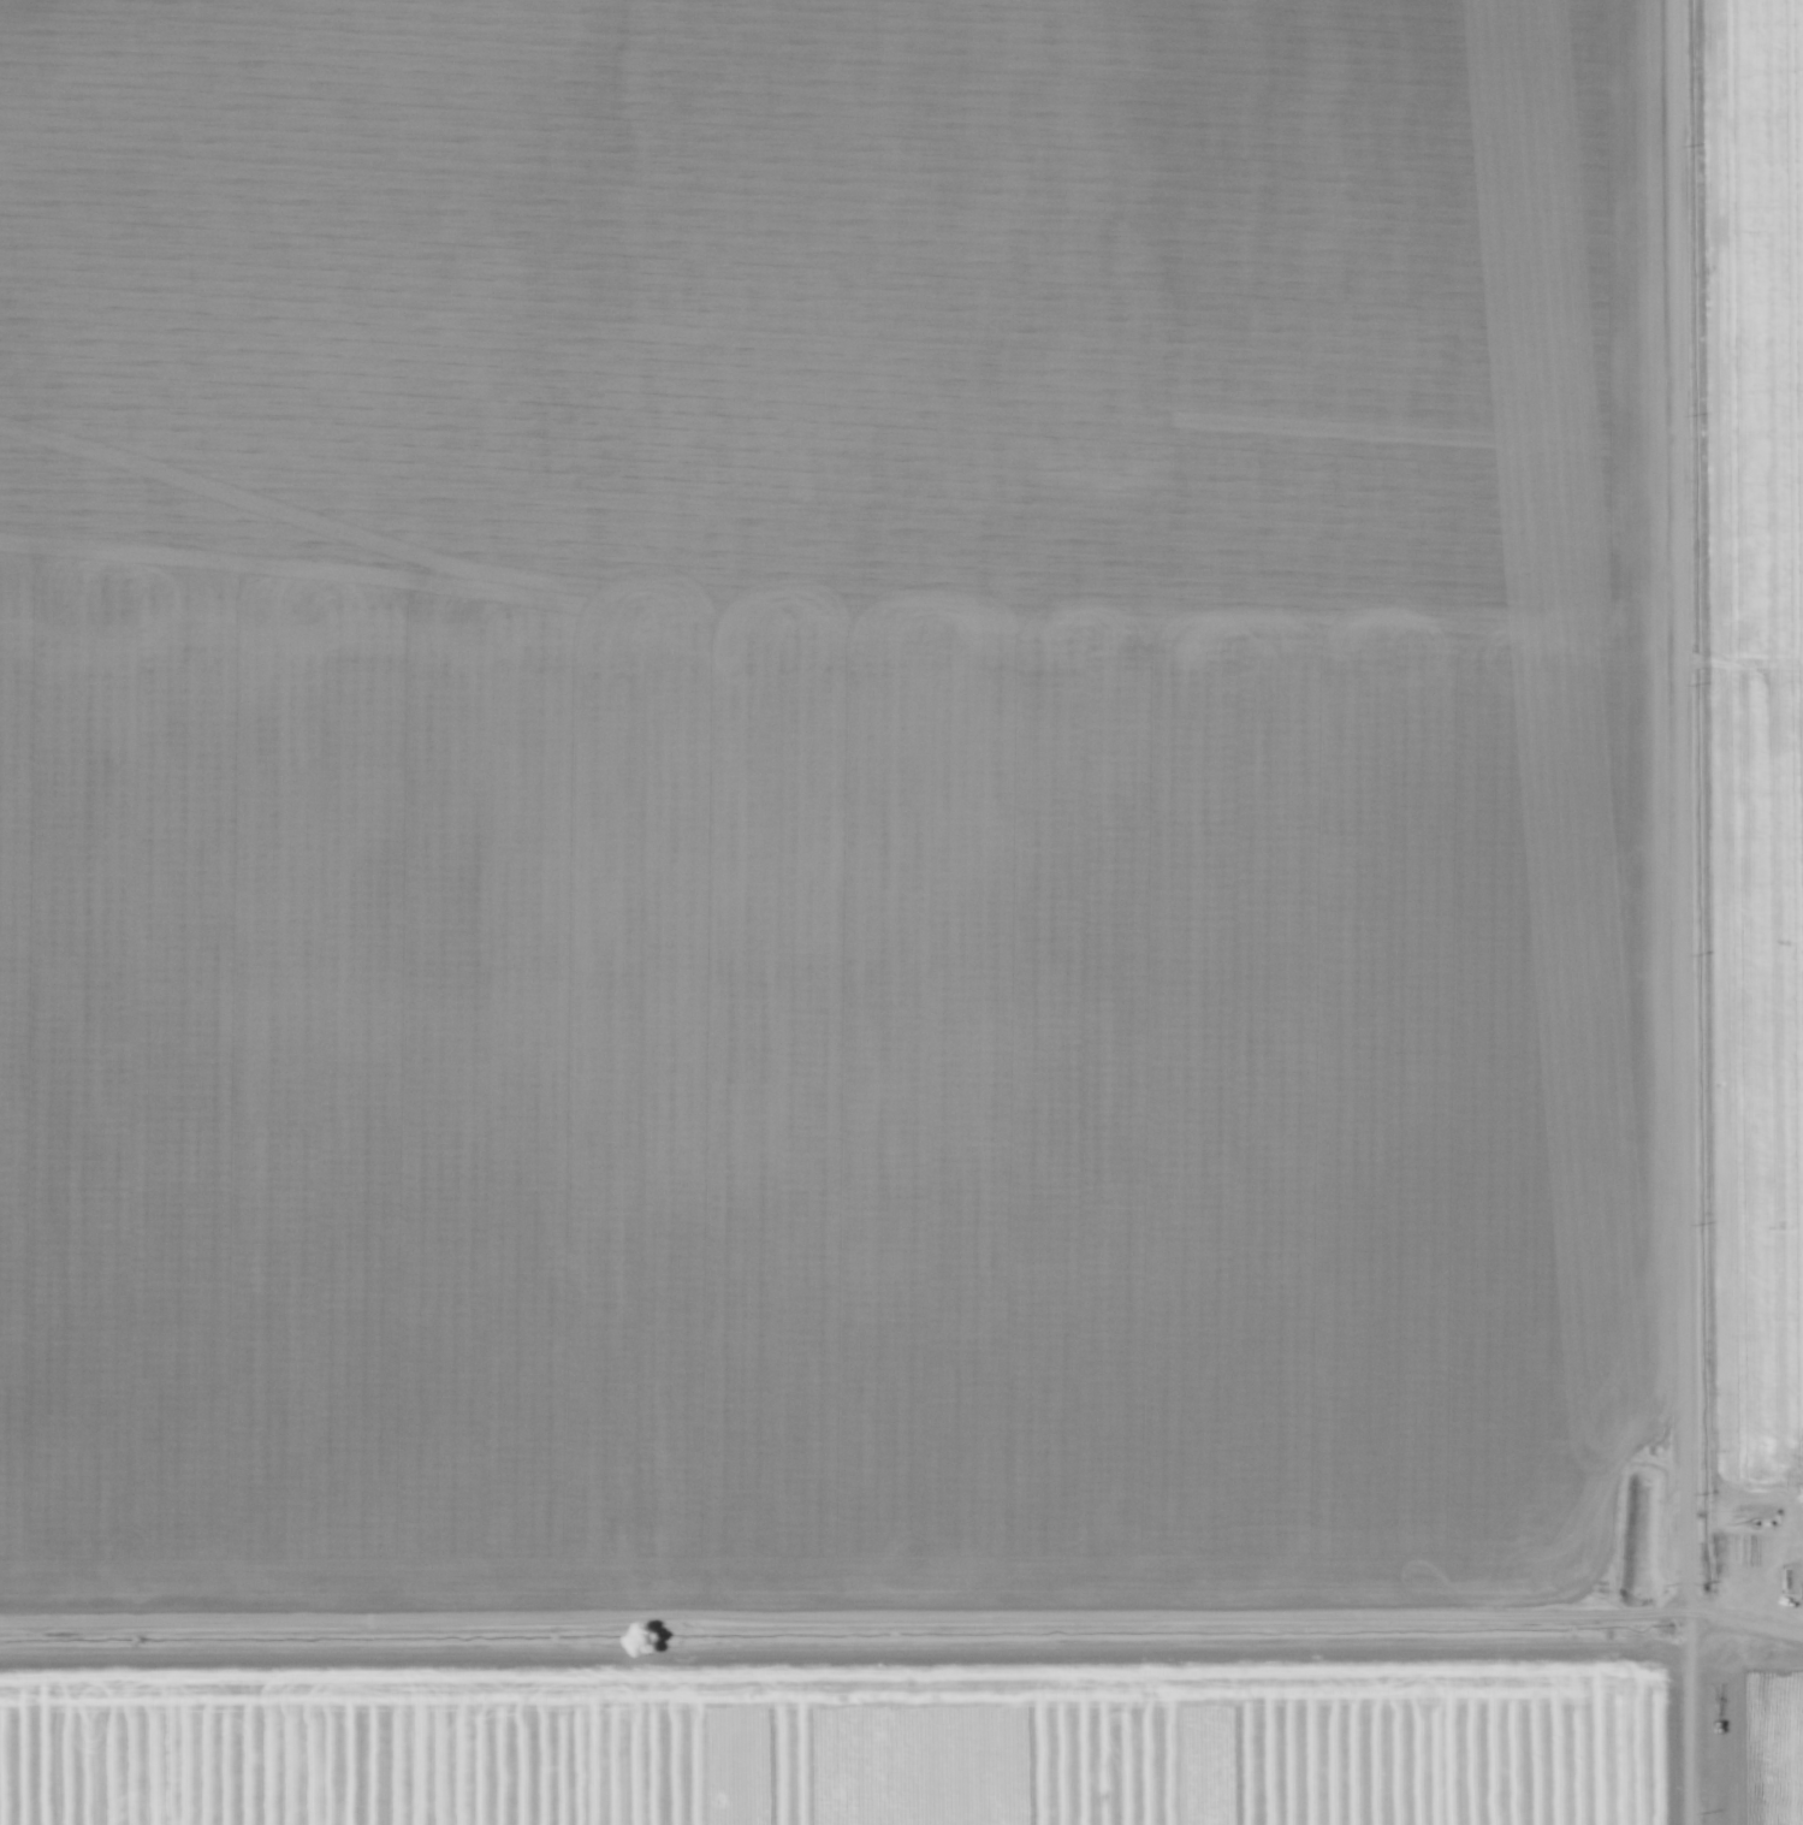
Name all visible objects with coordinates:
crop: (830, 812)
crop: (1732, 895)
road: (1667, 912)
road: (832, 1658)
crop: (841, 1723)

